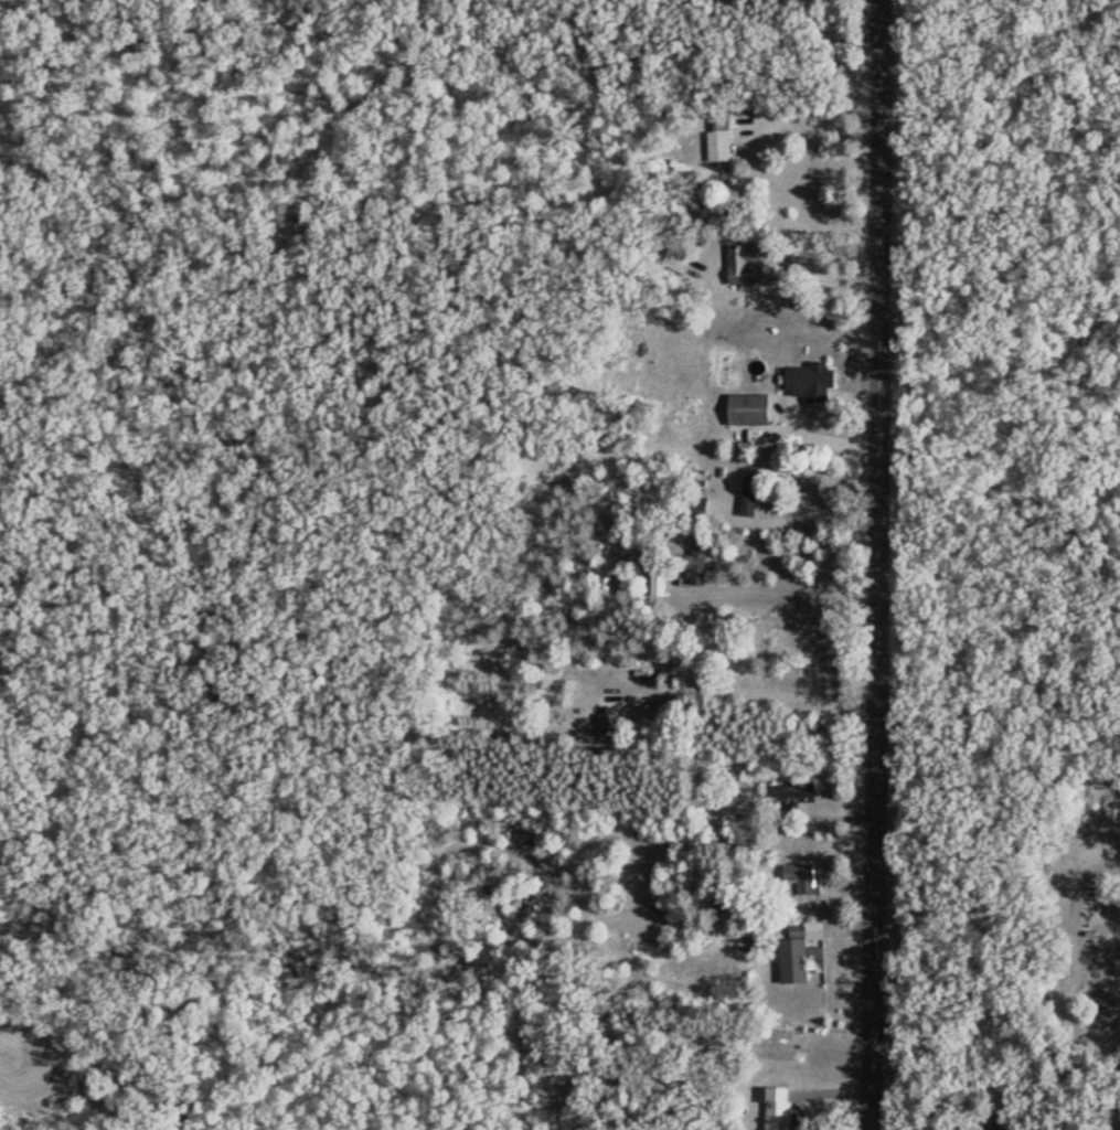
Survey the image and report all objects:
building: (723, 137)
building: (804, 379)
road: (828, 440)
road: (878, 565)
building: (606, 582)
building: (661, 583)
building: (775, 617)
building: (622, 724)
building: (802, 875)
building: (806, 952)
road: (7, 1041)
building: (797, 1044)
building: (774, 1107)

